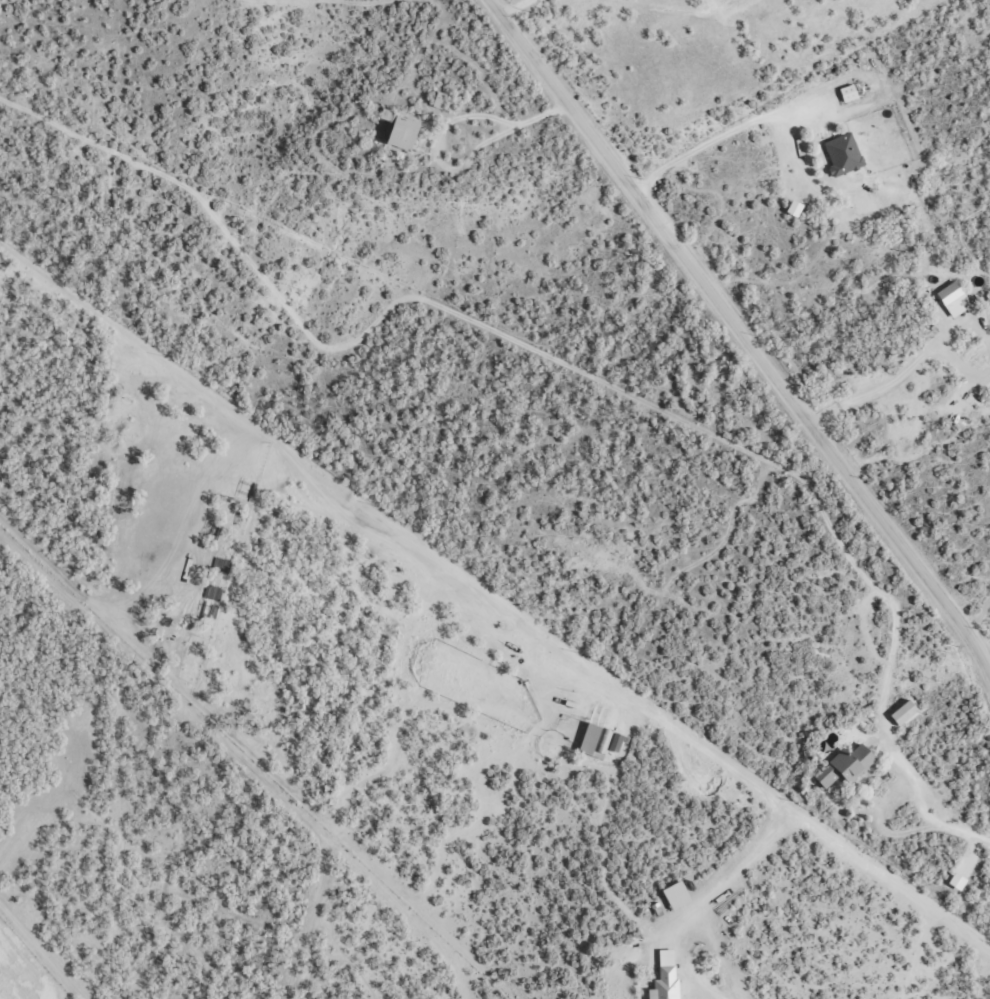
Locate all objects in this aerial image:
building: (849, 93)
building: (439, 100)
building: (403, 133)
building: (843, 155)
building: (795, 209)
building: (953, 298)
road: (744, 354)
building: (904, 712)
building: (595, 741)
building: (616, 742)
building: (846, 765)
building: (957, 881)
building: (677, 895)
building: (666, 977)

